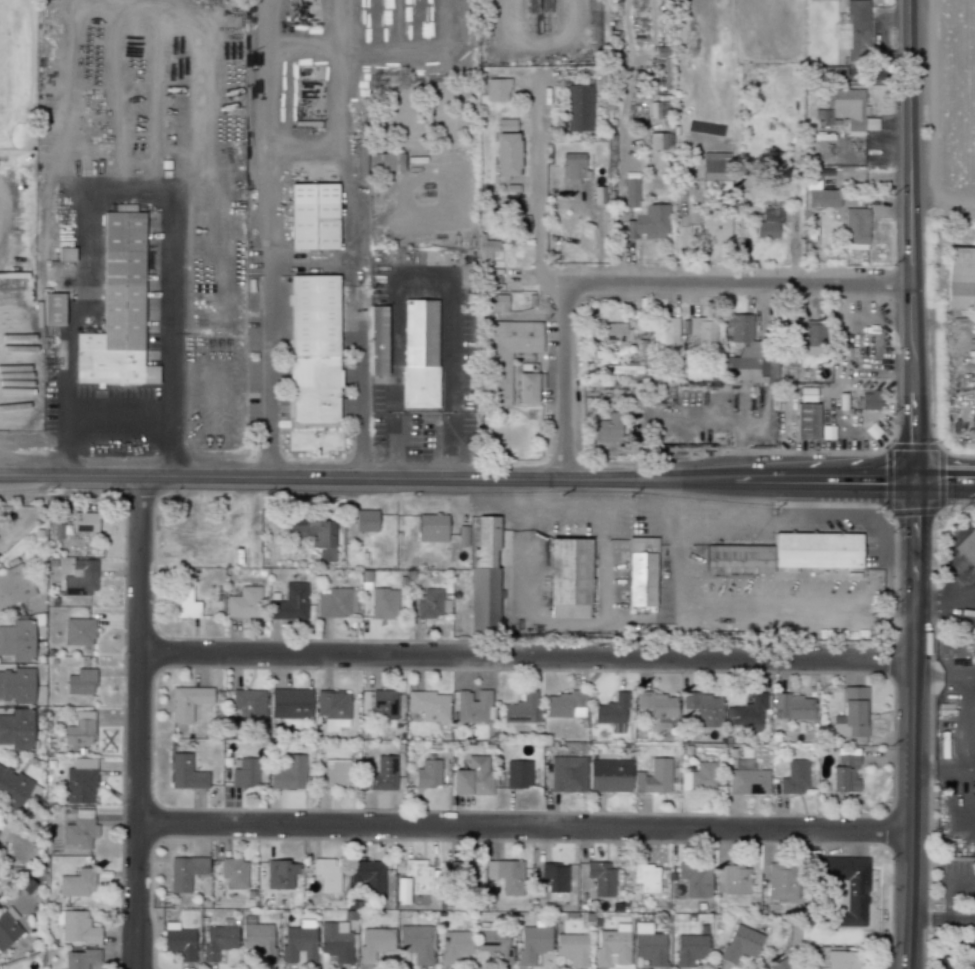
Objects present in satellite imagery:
building: (853, 30)
road: (537, 45)
crop: (16, 73)
building: (498, 89)
crop: (957, 96)
building: (579, 107)
building: (658, 109)
building: (850, 112)
building: (506, 124)
road: (311, 139)
building: (658, 141)
building: (506, 155)
building: (386, 162)
building: (572, 168)
building: (715, 173)
road: (620, 178)
road: (537, 190)
road: (123, 193)
building: (822, 198)
building: (644, 215)
building: (314, 216)
building: (515, 220)
building: (769, 224)
building: (715, 227)
road: (273, 238)
road: (353, 238)
road: (910, 240)
building: (487, 249)
building: (66, 254)
road: (313, 261)
road: (419, 275)
building: (960, 278)
road: (644, 282)
building: (119, 308)
building: (53, 309)
building: (314, 314)
building: (703, 330)
building: (665, 331)
building: (420, 332)
building: (614, 333)
building: (814, 333)
building: (378, 340)
building: (503, 349)
building: (747, 353)
building: (623, 368)
building: (420, 386)
building: (314, 387)
building: (527, 388)
building: (867, 400)
road: (119, 418)
building: (806, 421)
building: (607, 429)
traffic signals: (913, 440)
road: (456, 478)
traffic signals: (881, 481)
road: (944, 481)
traffic signals: (949, 481)
building: (365, 520)
traffic signals: (914, 520)
building: (85, 522)
building: (432, 528)
building: (313, 534)
building: (967, 547)
road: (601, 551)
building: (819, 551)
building: (740, 559)
building: (643, 573)
building: (571, 574)
building: (80, 578)
building: (487, 578)
building: (14, 587)
building: (184, 602)
road: (944, 602)
building: (244, 603)
building: (290, 603)
building: (334, 603)
building: (383, 603)
building: (429, 603)
road: (737, 603)
road: (539, 622)
building: (79, 631)
building: (17, 640)
street lamp: (120, 654)
road: (525, 656)
road: (913, 656)
road: (944, 674)
building: (81, 681)
building: (17, 685)
building: (188, 702)
building: (249, 703)
building: (290, 703)
building: (658, 704)
building: (430, 705)
building: (565, 705)
building: (474, 706)
building: (794, 706)
building: (703, 708)
building: (333, 709)
building: (522, 709)
building: (611, 710)
building: (852, 713)
building: (745, 714)
road: (137, 722)
building: (17, 729)
building: (80, 729)
road: (943, 764)
building: (244, 772)
building: (336, 772)
building: (186, 773)
building: (289, 774)
building: (383, 774)
building: (428, 774)
building: (518, 774)
building: (567, 774)
building: (844, 774)
building: (610, 775)
building: (474, 776)
building: (654, 777)
building: (699, 777)
building: (794, 778)
building: (80, 781)
building: (748, 781)
building: (13, 787)
road: (523, 826)
building: (80, 829)
building: (185, 872)
building: (234, 872)
building: (280, 874)
building: (327, 874)
building: (465, 874)
building: (506, 875)
building: (368, 876)
building: (554, 877)
building: (600, 877)
building: (646, 877)
building: (416, 879)
building: (732, 879)
road: (958, 879)
building: (694, 880)
building: (782, 881)
building: (77, 883)
building: (848, 887)
road: (908, 899)
road: (941, 919)
building: (8, 927)
building: (77, 927)
building: (179, 941)
building: (218, 941)
building: (259, 941)
building: (299, 941)
building: (336, 941)
building: (417, 942)
building: (375, 943)
building: (533, 943)
building: (648, 944)
building: (741, 944)
building: (455, 945)
building: (495, 945)
building: (612, 946)
road: (955, 946)
building: (572, 947)
building: (690, 949)
building: (80, 958)
building: (844, 959)
building: (780, 964)

